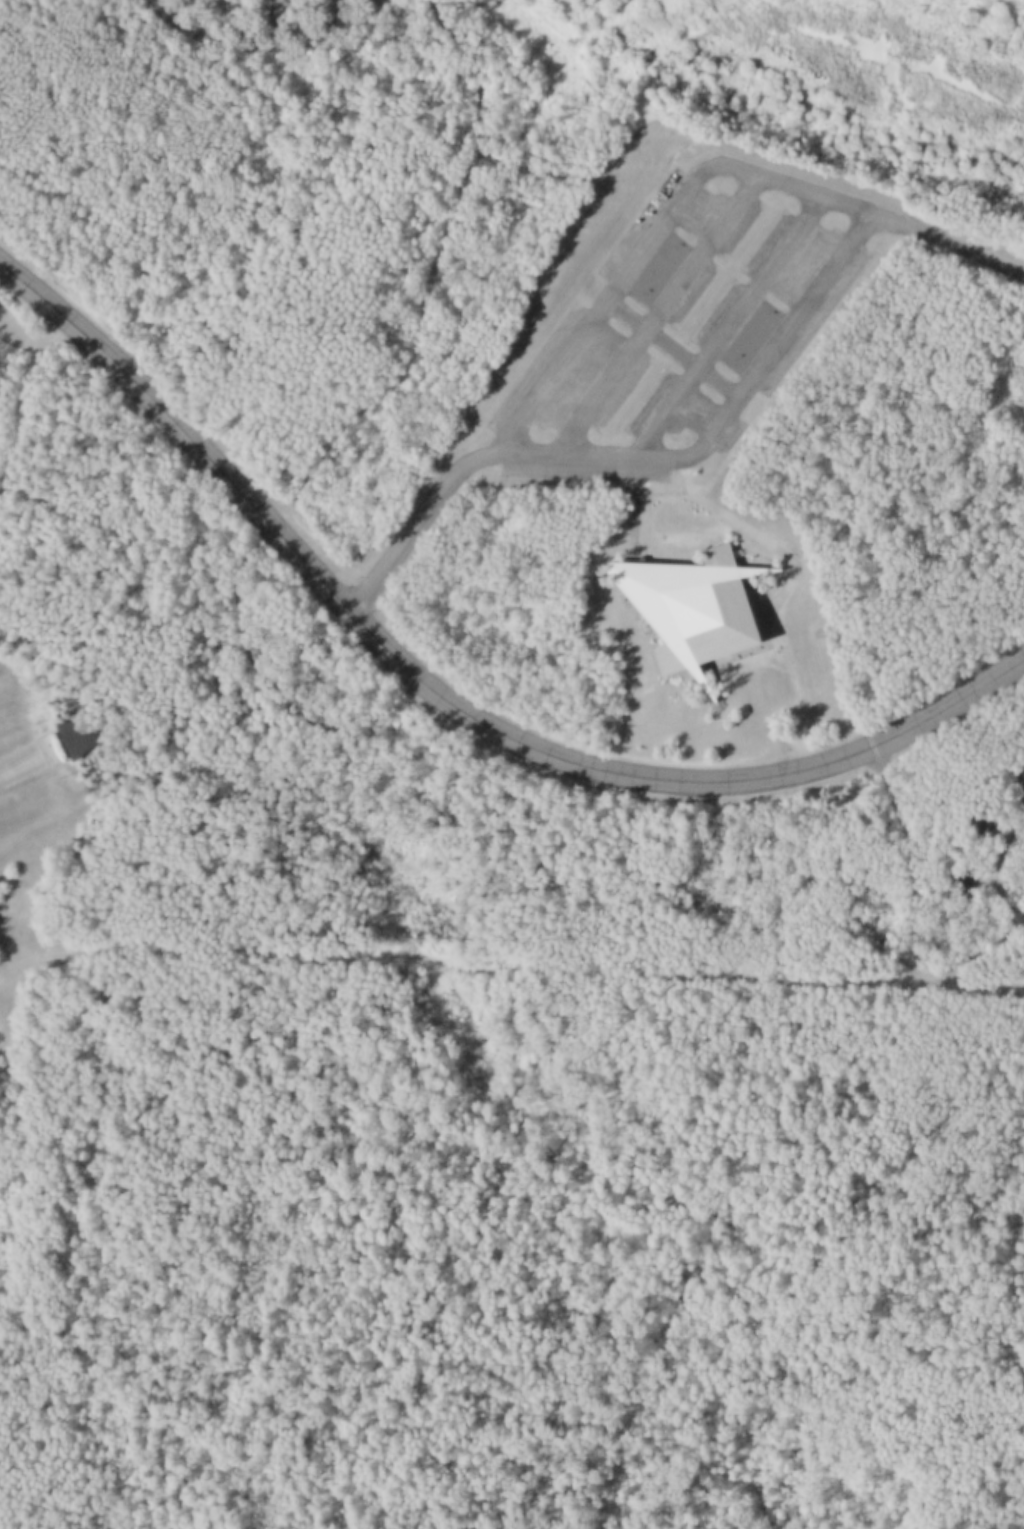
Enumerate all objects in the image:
road: (259, 35)
road: (655, 236)
road: (661, 312)
parking lot: (686, 321)
road: (731, 322)
road: (706, 433)
building: (695, 608)
road: (443, 696)
building: (77, 737)
park: (512, 764)
road: (993, 868)
road: (508, 963)

